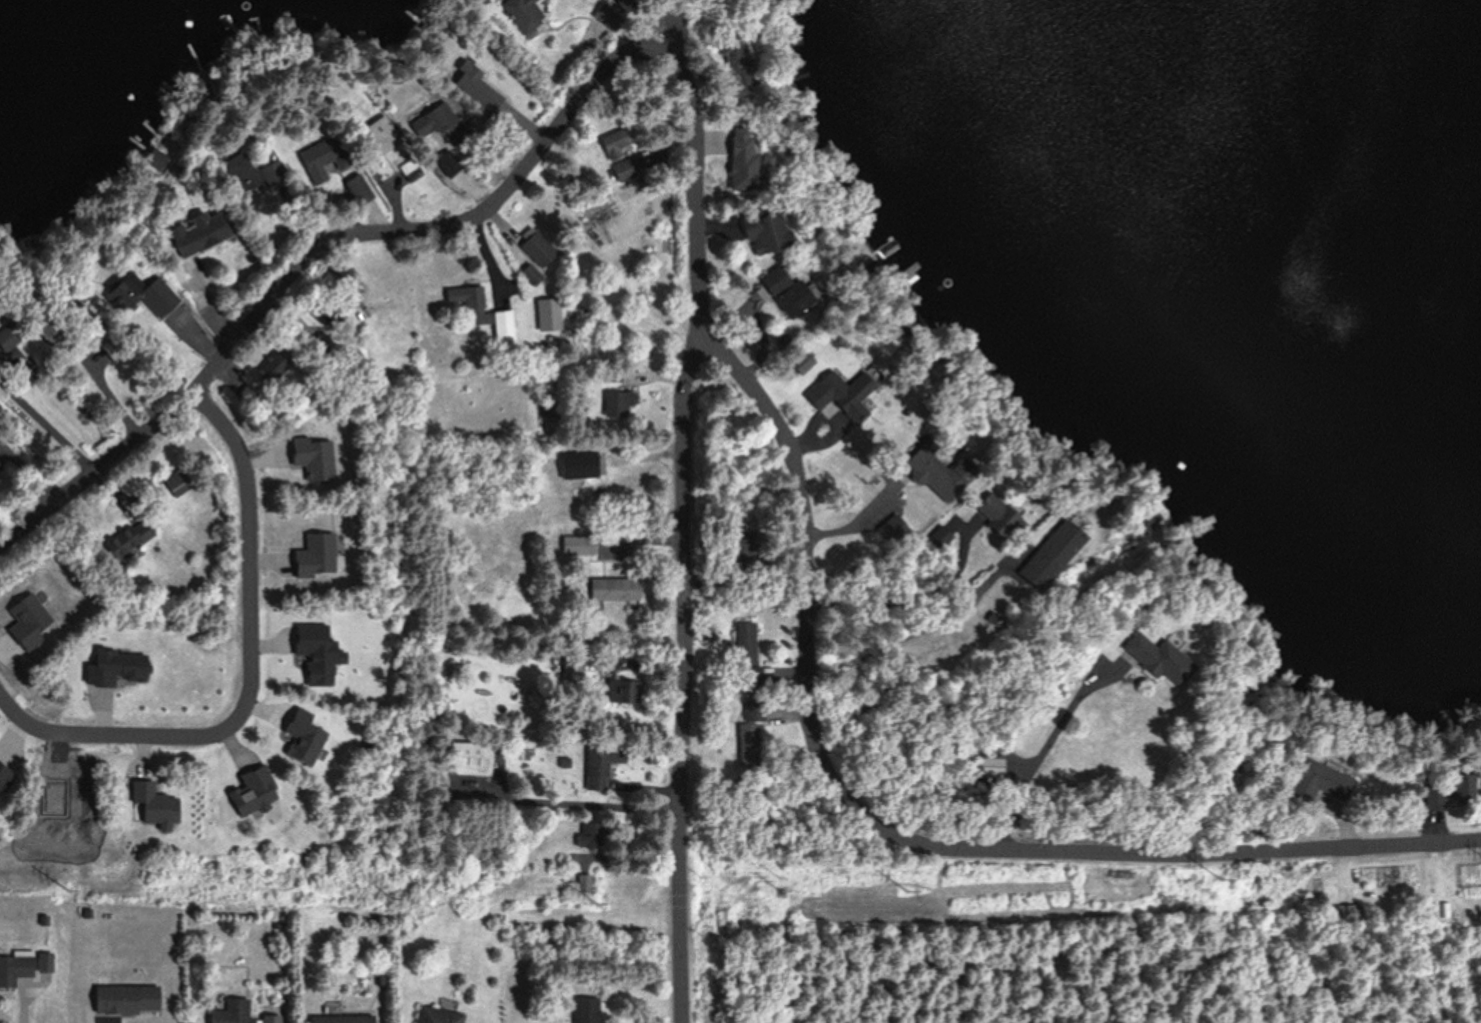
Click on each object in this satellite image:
building: (522, 14)
building: (600, 23)
road: (646, 25)
building: (793, 41)
road: (697, 44)
building: (472, 86)
building: (374, 136)
building: (616, 148)
building: (330, 155)
building: (446, 163)
building: (241, 171)
building: (623, 171)
building: (359, 188)
building: (760, 231)
building: (194, 234)
road: (335, 237)
building: (538, 248)
building: (531, 273)
building: (139, 293)
building: (782, 293)
building: (467, 300)
building: (47, 319)
building: (502, 325)
building: (5, 341)
building: (797, 367)
building: (617, 403)
building: (579, 466)
building: (1, 471)
building: (943, 475)
building: (176, 484)
building: (1002, 529)
building: (126, 541)
building: (578, 546)
building: (1053, 546)
building: (739, 549)
building: (613, 590)
building: (745, 644)
building: (1151, 659)
road: (682, 667)
building: (573, 671)
road: (247, 673)
road: (1041, 748)
building: (745, 751)
road: (819, 751)
building: (467, 759)
building: (595, 770)
building: (1309, 783)
building: (588, 835)
building: (15, 966)
building: (125, 999)
building: (584, 1010)
building: (230, 1011)
building: (338, 1016)

